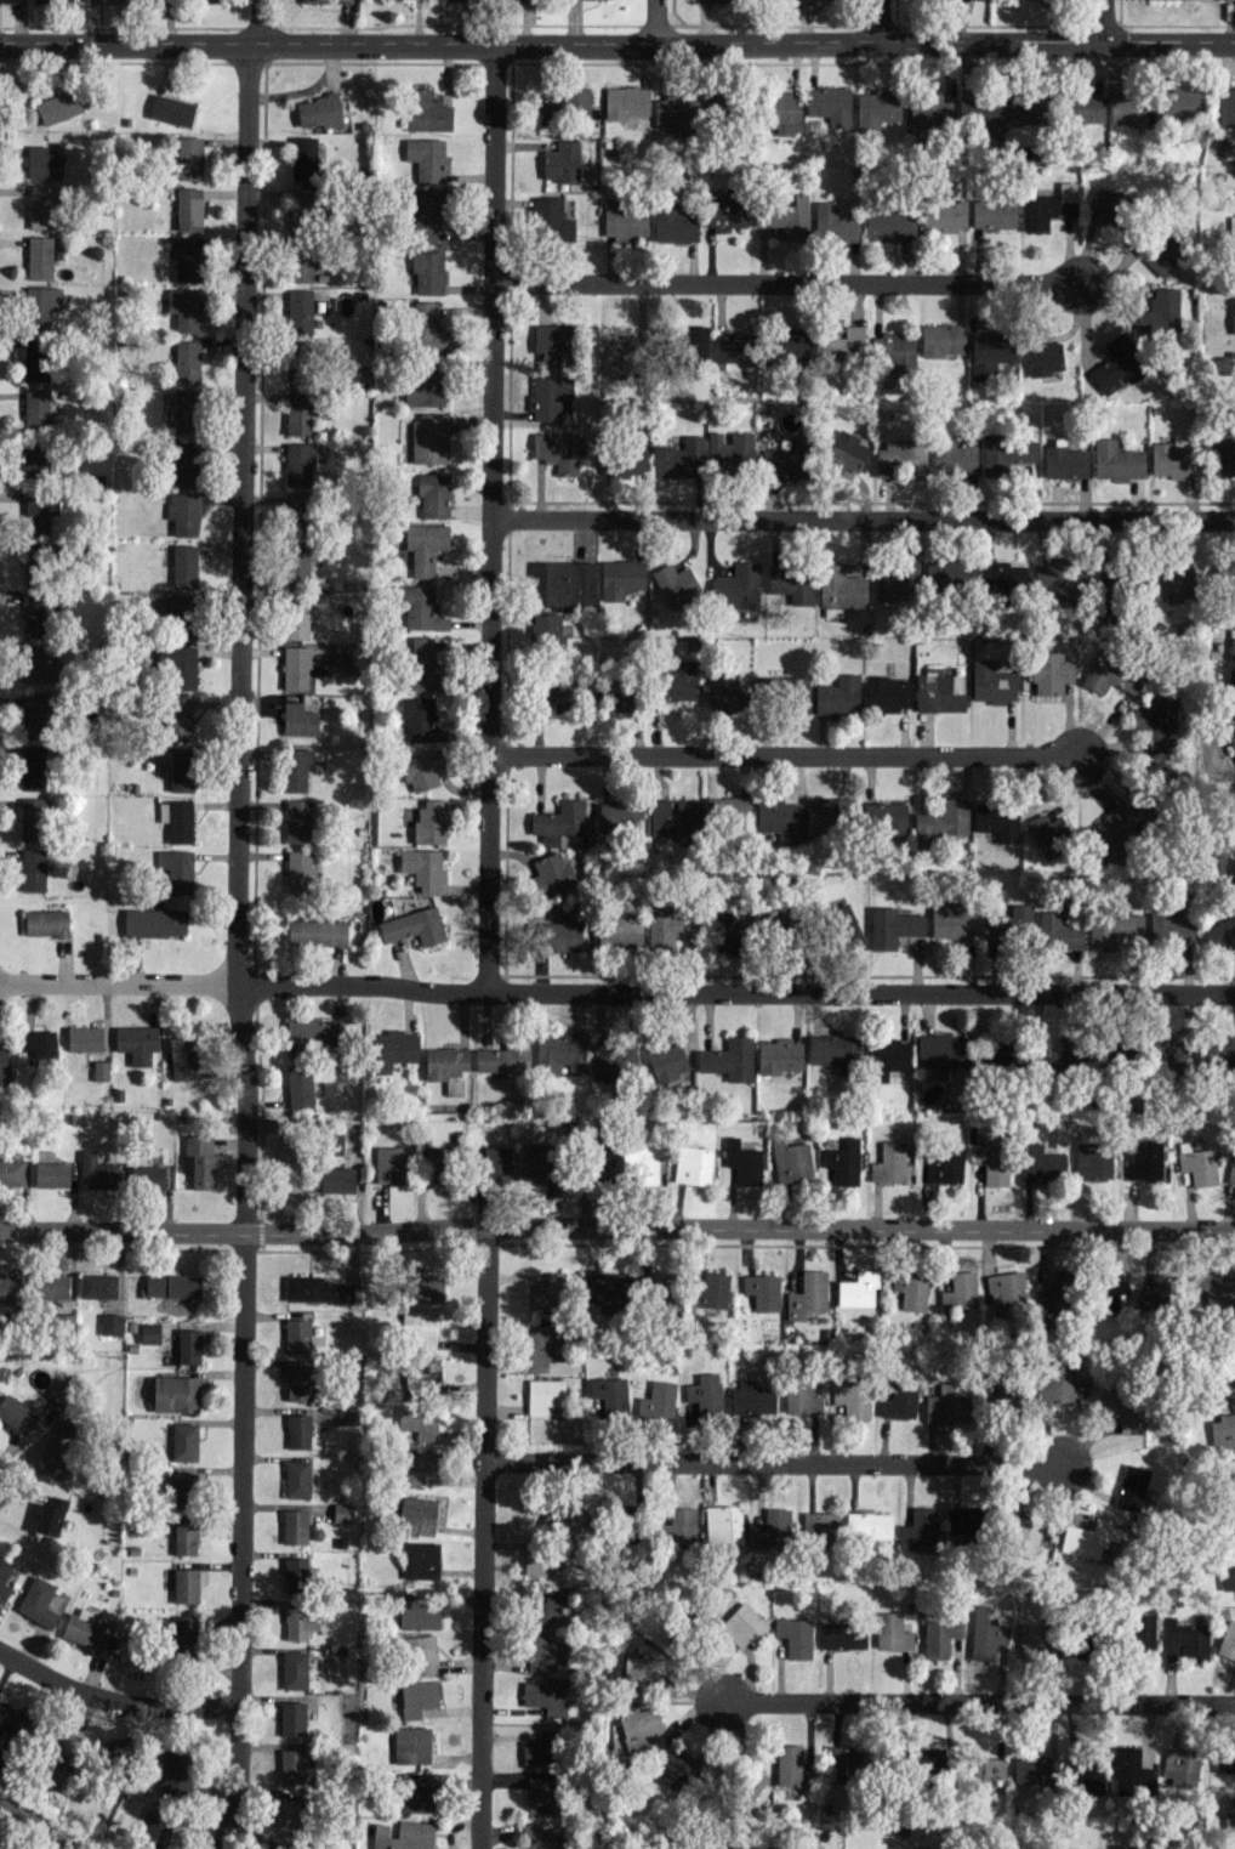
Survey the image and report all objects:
building: (11, 0)
building: (51, 0)
building: (102, 0)
building: (328, 0)
building: (710, 0)
building: (207, 1)
road: (1102, 22)
road: (256, 23)
road: (654, 23)
road: (882, 23)
road: (617, 46)
building: (627, 101)
building: (1180, 103)
building: (829, 104)
building: (57, 106)
building: (928, 107)
building: (1082, 107)
building: (564, 108)
building: (877, 108)
building: (171, 109)
building: (673, 109)
building: (1131, 109)
building: (318, 110)
building: (426, 110)
building: (782, 110)
building: (1025, 110)
building: (981, 115)
building: (188, 157)
building: (303, 157)
building: (427, 158)
building: (42, 163)
building: (562, 163)
building: (41, 206)
building: (1048, 206)
building: (1110, 206)
building: (188, 209)
building: (301, 209)
building: (724, 210)
building: (992, 212)
building: (426, 214)
building: (944, 214)
building: (785, 217)
building: (551, 220)
building: (625, 222)
building: (673, 222)
building: (835, 222)
building: (1160, 251)
building: (39, 256)
building: (187, 259)
building: (427, 271)
road: (784, 284)
building: (40, 305)
building: (184, 308)
building: (300, 310)
building: (1160, 311)
building: (1233, 322)
building: (427, 329)
building: (943, 339)
building: (553, 341)
building: (838, 341)
building: (694, 342)
building: (787, 344)
building: (734, 348)
building: (893, 350)
building: (989, 352)
building: (620, 355)
building: (1042, 355)
building: (36, 359)
building: (186, 361)
building: (1116, 364)
building: (296, 369)
building: (423, 387)
building: (548, 396)
building: (35, 409)
building: (301, 410)
building: (184, 412)
building: (428, 438)
building: (730, 449)
building: (557, 450)
building: (844, 452)
building: (1224, 452)
building: (954, 453)
building: (1007, 453)
building: (678, 458)
building: (901, 458)
building: (622, 459)
building: (784, 459)
building: (1173, 459)
building: (1064, 460)
building: (1117, 460)
building: (35, 463)
building: (183, 463)
building: (298, 463)
building: (433, 494)
building: (39, 511)
building: (183, 511)
building: (296, 512)
road: (489, 518)
road: (863, 520)
building: (425, 545)
building: (33, 560)
building: (296, 562)
building: (183, 565)
building: (949, 572)
building: (1225, 574)
building: (1003, 577)
building: (620, 578)
building: (1059, 579)
building: (1171, 579)
building: (895, 580)
building: (563, 583)
building: (790, 583)
building: (677, 585)
building: (736, 585)
building: (840, 588)
building: (421, 608)
building: (39, 612)
building: (181, 616)
building: (298, 616)
building: (546, 629)
building: (1231, 646)
building: (38, 664)
building: (177, 664)
building: (423, 664)
building: (298, 665)
building: (1049, 673)
building: (1110, 674)
building: (677, 680)
building: (991, 682)
building: (1231, 691)
building: (558, 692)
building: (723, 692)
building: (886, 692)
building: (939, 692)
building: (797, 693)
building: (621, 694)
building: (838, 696)
building: (33, 716)
building: (177, 718)
building: (419, 718)
building: (298, 719)
building: (1157, 722)
building: (1231, 741)
road: (781, 755)
building: (173, 766)
building: (32, 767)
building: (295, 768)
building: (422, 768)
building: (1161, 771)
building: (728, 809)
building: (621, 816)
building: (675, 816)
building: (884, 816)
building: (33, 818)
building: (779, 818)
building: (176, 819)
building: (297, 819)
building: (429, 821)
building: (559, 821)
building: (941, 821)
building: (997, 821)
building: (1111, 830)
building: (1048, 833)
building: (32, 868)
building: (176, 868)
building: (423, 868)
building: (297, 870)
building: (551, 873)
building: (769, 917)
building: (951, 919)
building: (154, 921)
building: (1006, 921)
building: (45, 923)
building: (844, 924)
building: (412, 925)
building: (893, 926)
building: (1111, 926)
building: (1169, 926)
building: (665, 929)
building: (619, 930)
building: (317, 931)
building: (723, 931)
building: (1058, 932)
building: (563, 935)
road: (237, 949)
road: (616, 992)
building: (313, 1031)
building: (84, 1037)
building: (136, 1042)
building: (40, 1045)
building: (1114, 1047)
building: (391, 1049)
building: (941, 1049)
building: (833, 1050)
building: (1216, 1051)
building: (560, 1053)
building: (991, 1054)
building: (779, 1055)
building: (1058, 1055)
building: (181, 1057)
building: (503, 1057)
building: (614, 1057)
building: (886, 1057)
building: (1167, 1057)
building: (729, 1059)
building: (668, 1064)
building: (4, 1066)
building: (446, 1067)
building: (99, 1070)
building: (298, 1085)
building: (335, 1142)
building: (199, 1158)
building: (1143, 1158)
building: (433, 1159)
building: (790, 1159)
building: (601, 1161)
building: (742, 1161)
building: (843, 1161)
building: (496, 1162)
building: (535, 1162)
building: (639, 1162)
building: (888, 1162)
building: (992, 1162)
building: (1093, 1162)
building: (286, 1163)
building: (1041, 1163)
building: (1197, 1163)
building: (392, 1164)
building: (693, 1164)
building: (945, 1165)
building: (11, 1172)
building: (97, 1172)
building: (51, 1174)
building: (1230, 1174)
building: (147, 1178)
building: (337, 1179)
road: (616, 1230)
building: (97, 1284)
building: (172, 1284)
building: (10, 1286)
building: (51, 1286)
building: (426, 1288)
building: (858, 1288)
building: (317, 1289)
building: (910, 1289)
building: (1004, 1289)
building: (546, 1291)
building: (609, 1291)
building: (711, 1291)
building: (762, 1291)
building: (958, 1291)
building: (1109, 1291)
building: (658, 1292)
building: (807, 1293)
building: (1054, 1294)
building: (63, 1321)
building: (110, 1323)
building: (420, 1329)
building: (149, 1332)
building: (296, 1334)
building: (188, 1345)
building: (542, 1345)
building: (411, 1379)
building: (1054, 1379)
building: (297, 1382)
building: (1225, 1382)
building: (175, 1394)
building: (543, 1394)
building: (610, 1394)
building: (705, 1394)
building: (799, 1396)
building: (850, 1396)
building: (1007, 1396)
building: (751, 1397)
building: (658, 1400)
building: (899, 1400)
building: (946, 1405)
building: (1120, 1407)
building: (16, 1413)
building: (346, 1416)
building: (417, 1419)
building: (298, 1430)
building: (1223, 1431)
building: (183, 1441)
building: (53, 1459)
road: (776, 1464)
building: (417, 1465)
building: (296, 1478)
building: (1230, 1480)
building: (1131, 1486)
building: (183, 1488)
building: (342, 1511)
building: (416, 1514)
building: (50, 1515)
building: (962, 1520)
building: (565, 1521)
building: (723, 1522)
building: (867, 1524)
building: (678, 1525)
building: (294, 1526)
building: (917, 1527)
building: (820, 1528)
building: (1225, 1528)
building: (772, 1530)
building: (184, 1536)
building: (1021, 1536)
building: (1088, 1537)
road: (488, 1539)
building: (543, 1558)
building: (420, 1560)
building: (295, 1573)
building: (4, 1577)
building: (1228, 1577)
building: (184, 1584)
building: (38, 1601)
building: (548, 1609)
building: (417, 1612)
building: (296, 1621)
building: (741, 1624)
building: (1142, 1629)
building: (89, 1630)
building: (892, 1630)
building: (940, 1633)
building: (843, 1634)
building: (985, 1634)
building: (795, 1635)
building: (1184, 1639)
building: (1228, 1640)
building: (1034, 1641)
building: (546, 1650)
building: (644, 1668)
building: (294, 1669)
building: (545, 1696)
building: (417, 1697)
road: (114, 1700)
road: (978, 1702)
building: (11, 1718)
building: (291, 1718)
building: (641, 1729)
building: (61, 1742)
building: (411, 1745)
building: (540, 1749)
building: (112, 1754)
building: (930, 1759)
building: (1225, 1759)
building: (843, 1763)
building: (291, 1765)
building: (791, 1765)
building: (672, 1766)
building: (1180, 1766)
building: (1035, 1768)
building: (984, 1769)
building: (175, 1771)
building: (1131, 1771)
building: (1086, 1773)
building: (752, 1787)
building: (541, 1794)
building: (414, 1796)
building: (284, 1815)
building: (1229, 1815)
building: (155, 1831)
building: (403, 1836)
building: (543, 1836)
building: (269, 1845)
building: (730, 1848)
building: (1070, 1848)

